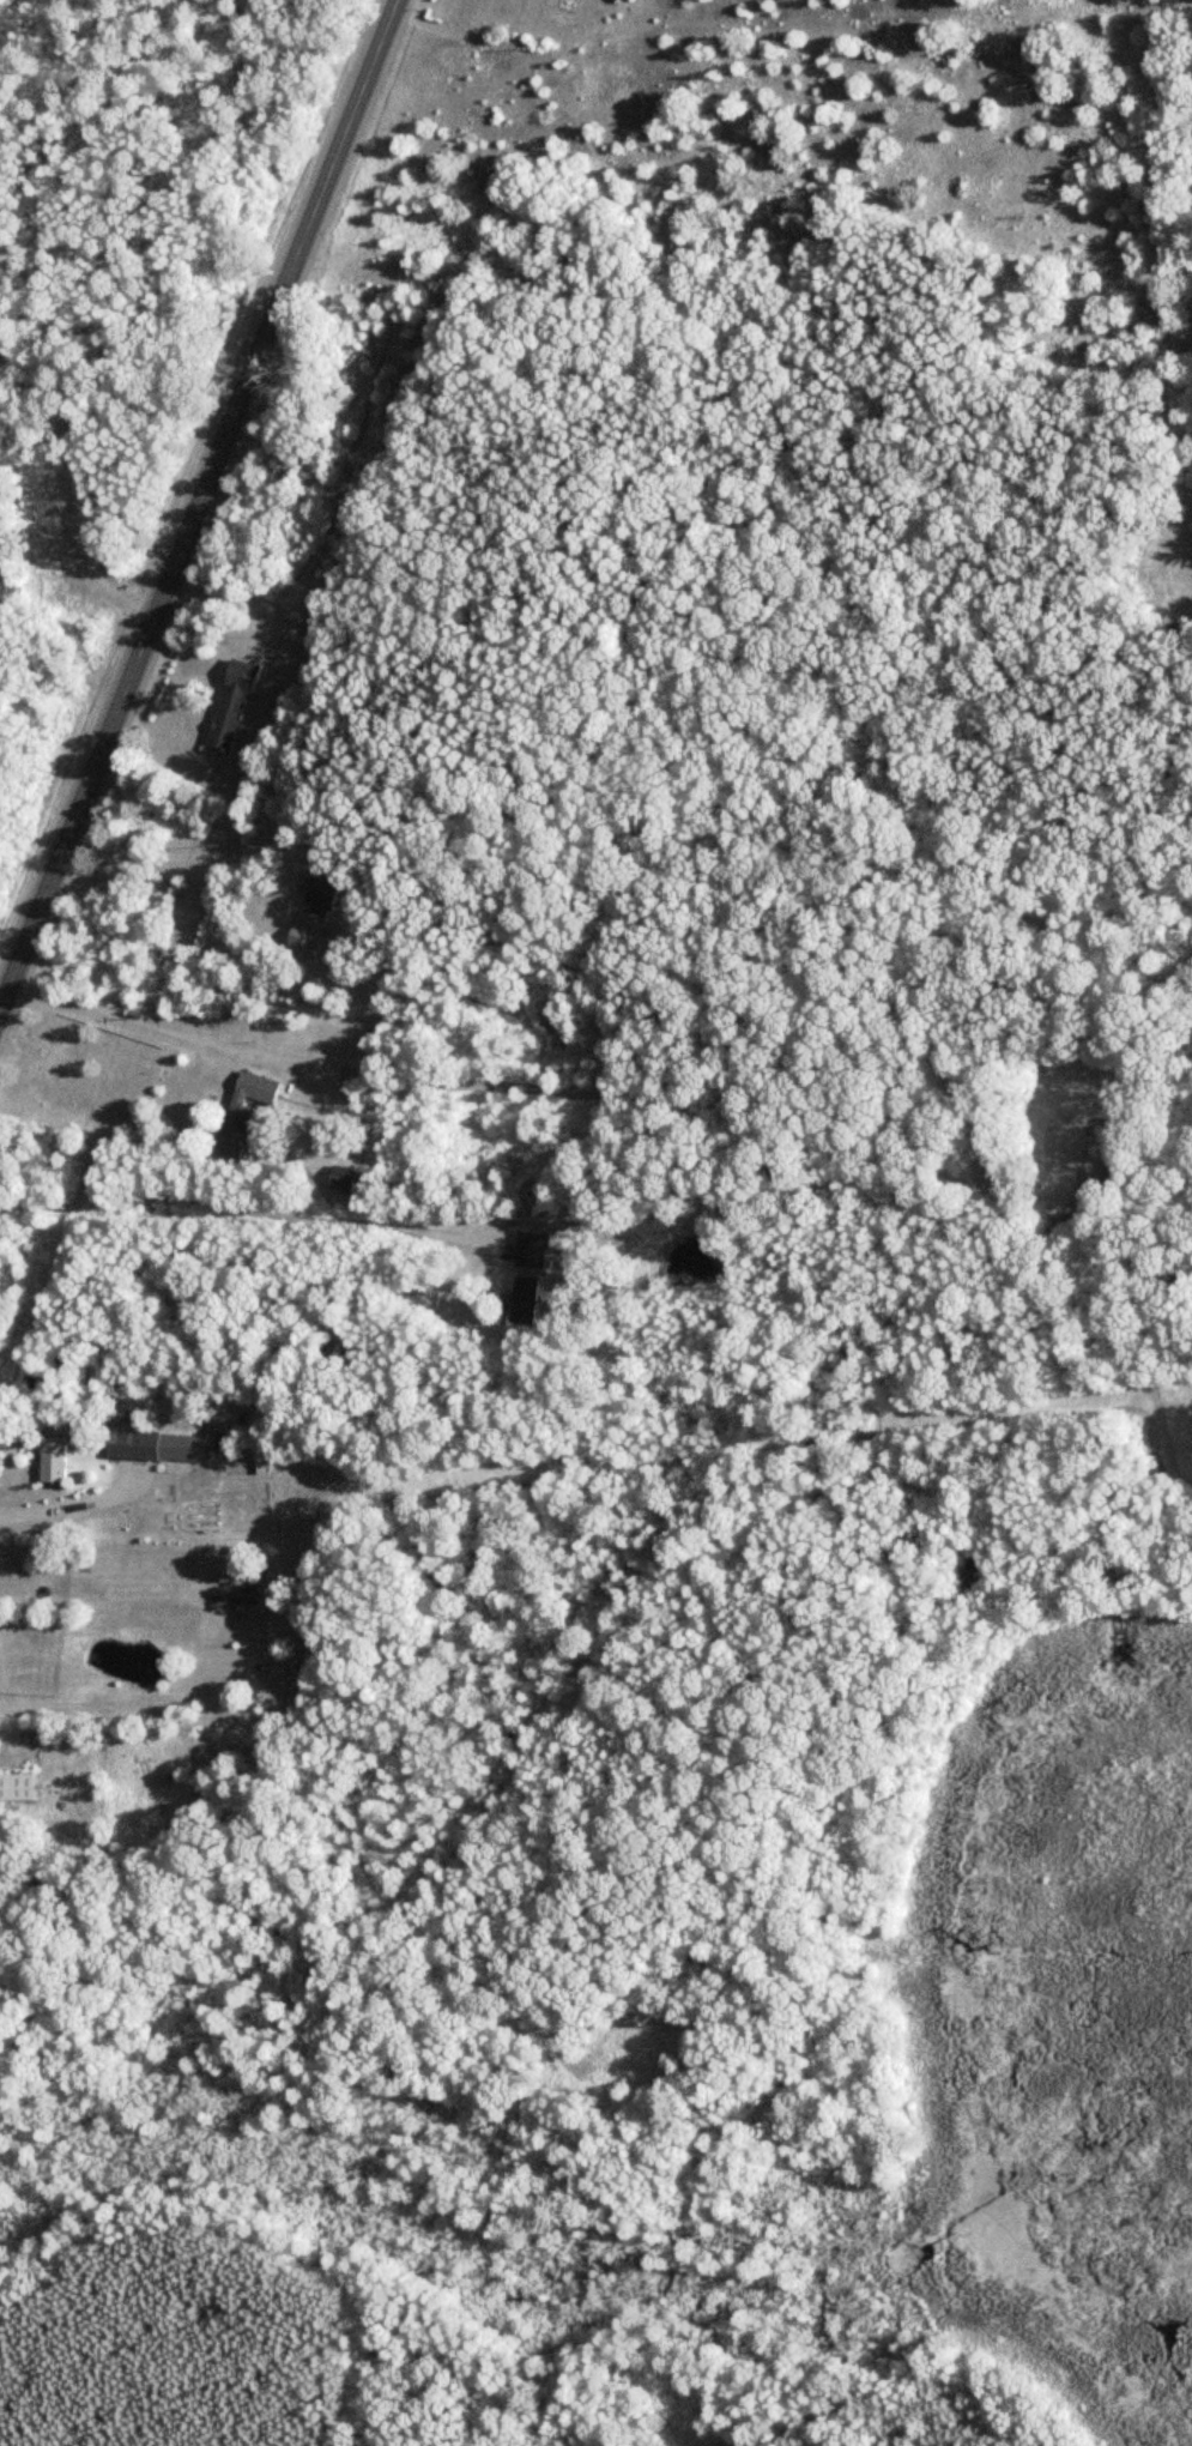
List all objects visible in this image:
road: (1169, 71)
road: (194, 469)
building: (226, 707)
road: (159, 853)
building: (303, 935)
road: (682, 1107)
building: (244, 1113)
building: (339, 1179)
road: (232, 1209)
building: (528, 1250)
building: (524, 1300)
building: (151, 1444)
building: (48, 1460)
road: (56, 1511)
building: (14, 1787)

